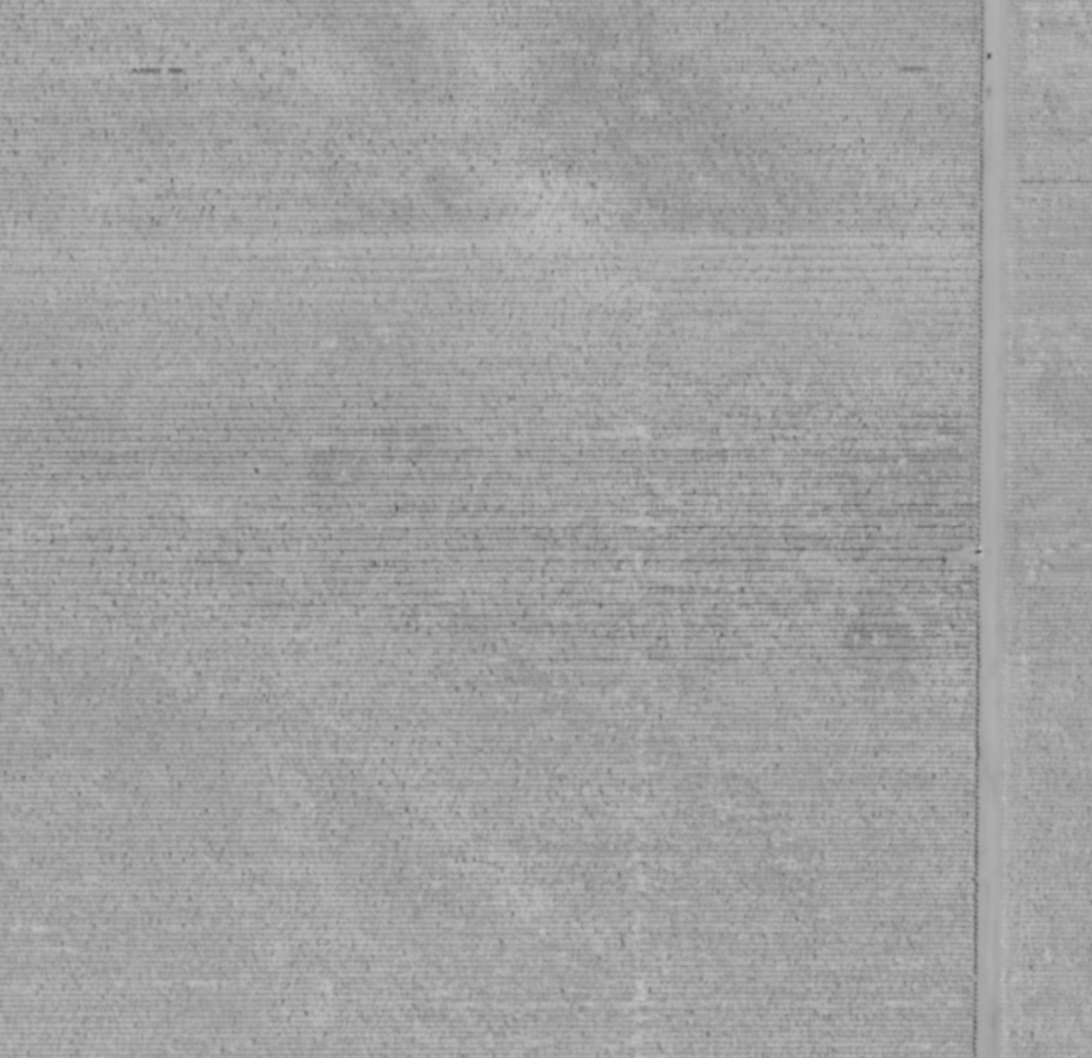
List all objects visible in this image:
crop: (485, 528)
road: (987, 529)

